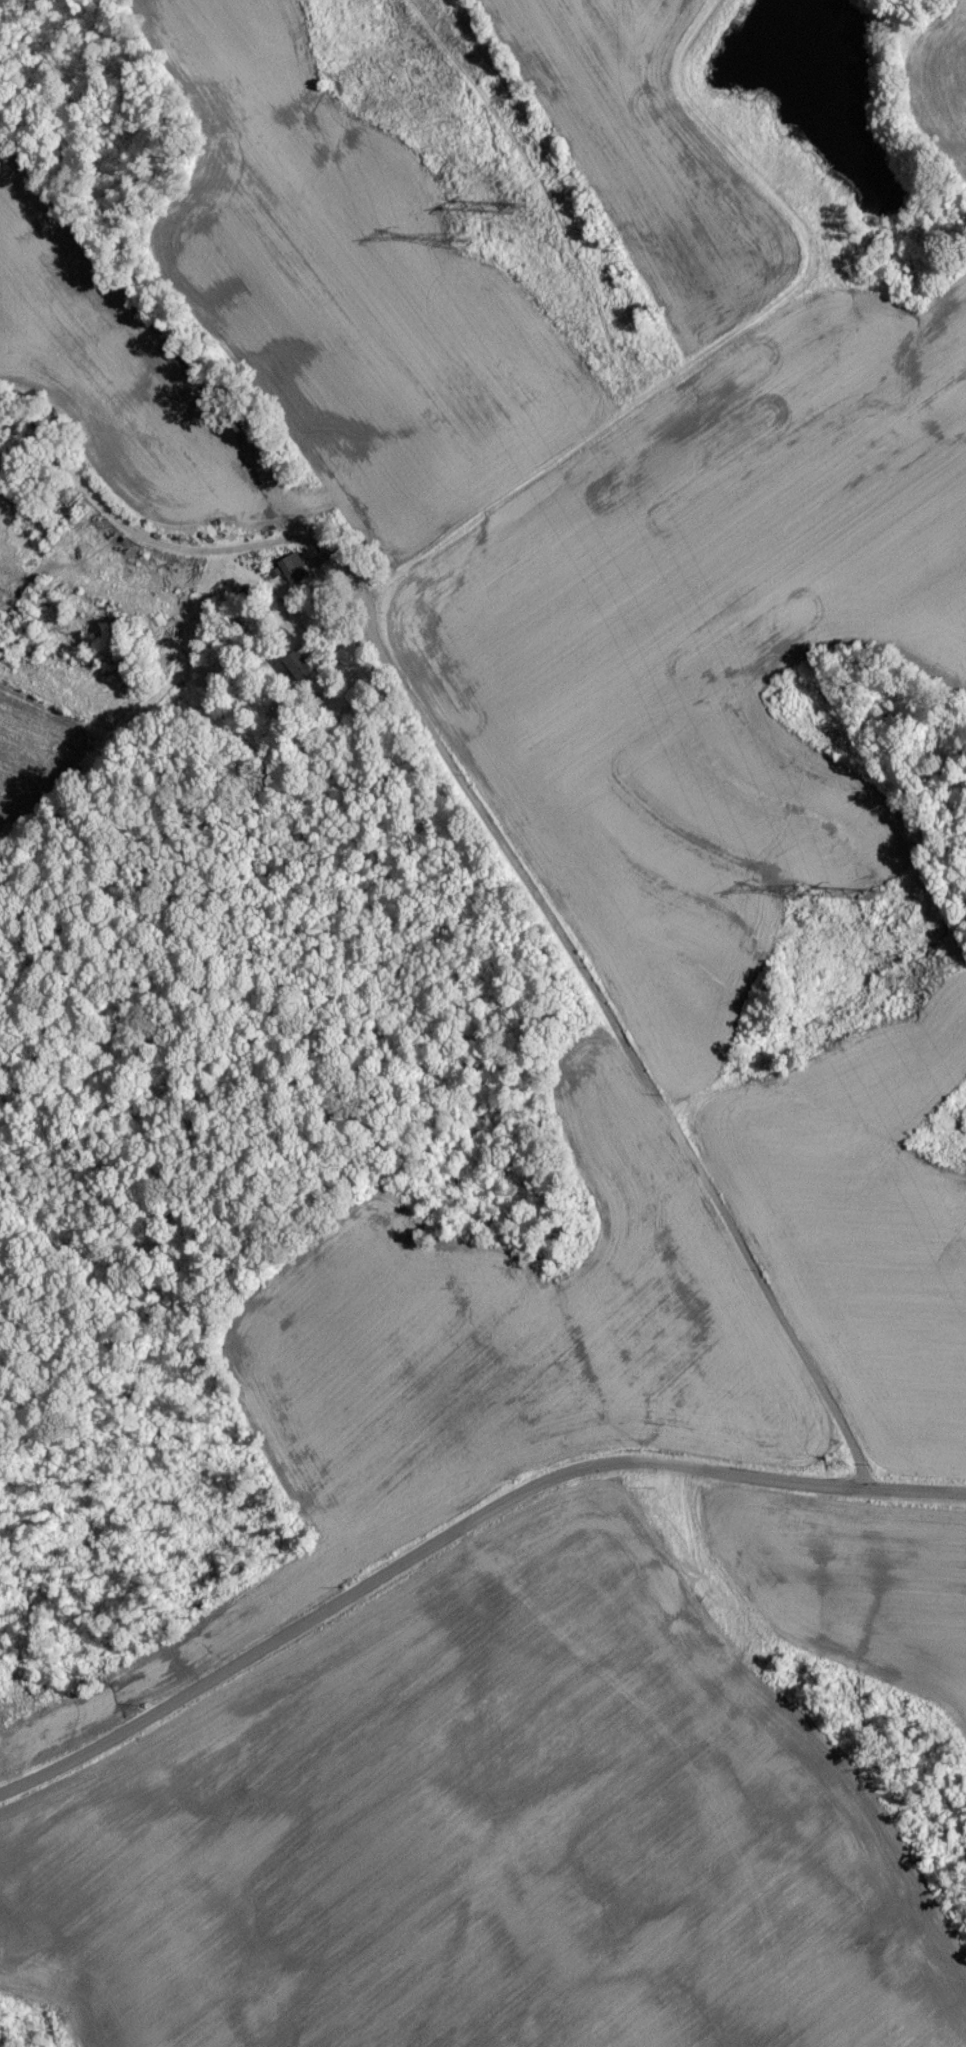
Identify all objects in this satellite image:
power tower: (521, 215)
power tower: (454, 247)
road: (514, 488)
power tower: (790, 895)
power tower: (872, 903)
road: (598, 1044)
road: (458, 1517)

